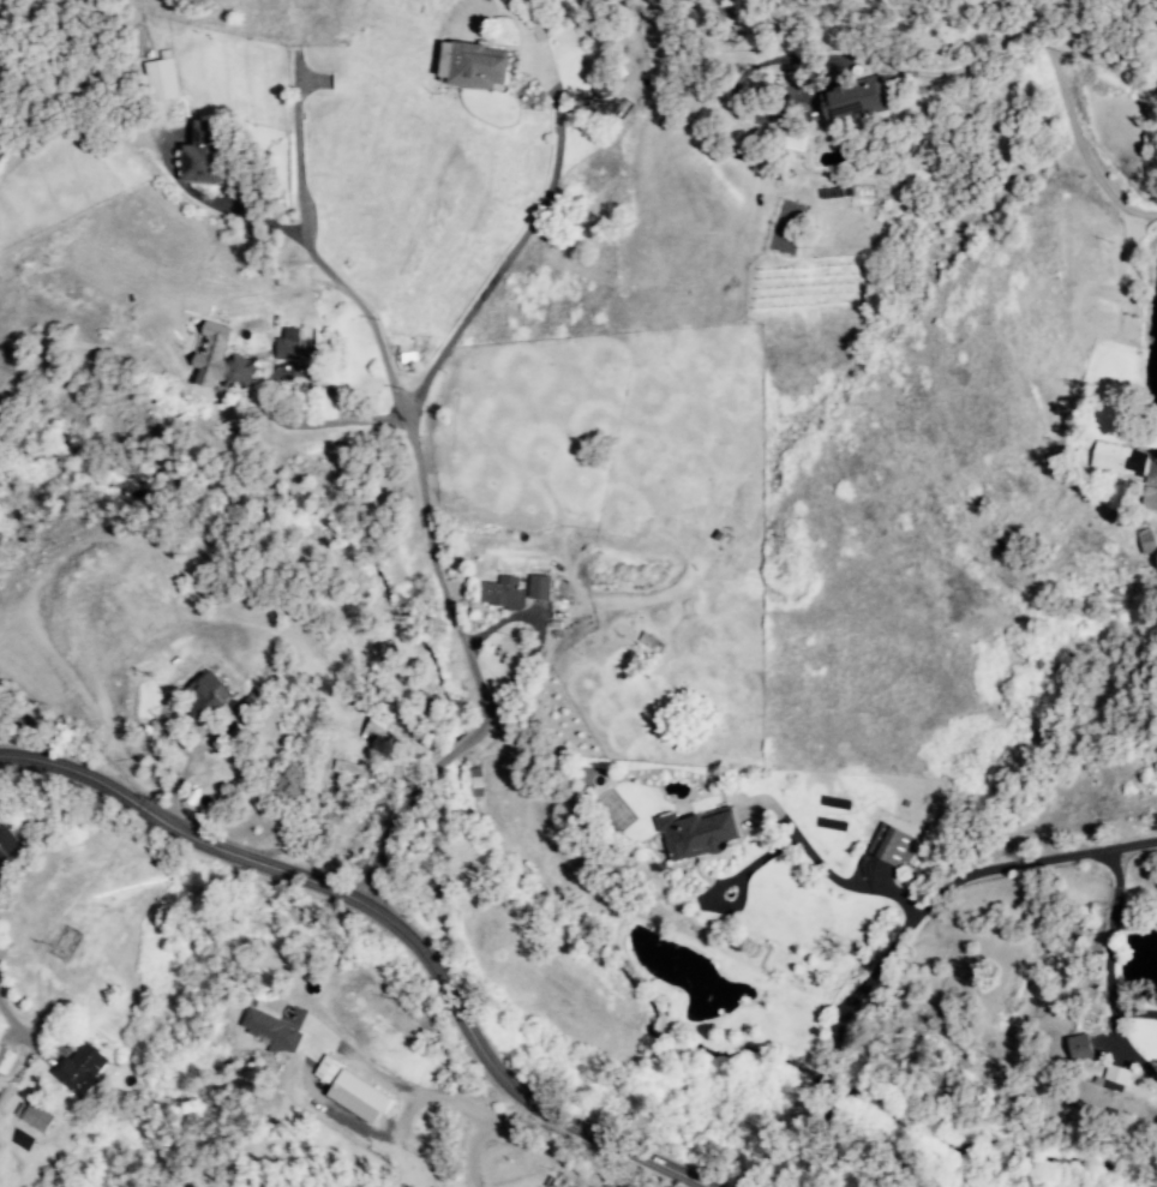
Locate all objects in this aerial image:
building: (487, 0)
building: (503, 1)
road: (985, 56)
building: (473, 66)
building: (160, 80)
building: (855, 100)
building: (202, 154)
road: (1087, 163)
road: (340, 284)
building: (288, 344)
building: (234, 371)
road: (338, 402)
road: (1155, 450)
building: (1119, 460)
building: (1149, 498)
road: (421, 499)
building: (1145, 541)
building: (538, 587)
building: (502, 593)
road: (536, 635)
building: (203, 697)
building: (250, 705)
building: (379, 726)
building: (697, 833)
building: (6, 841)
road: (784, 844)
building: (891, 845)
road: (390, 919)
road: (897, 929)
road: (1104, 951)
road: (16, 1031)
building: (272, 1031)
road: (325, 1045)
building: (1079, 1047)
building: (5, 1060)
building: (78, 1067)
building: (1115, 1079)
building: (352, 1091)
building: (6, 1093)
building: (32, 1116)

